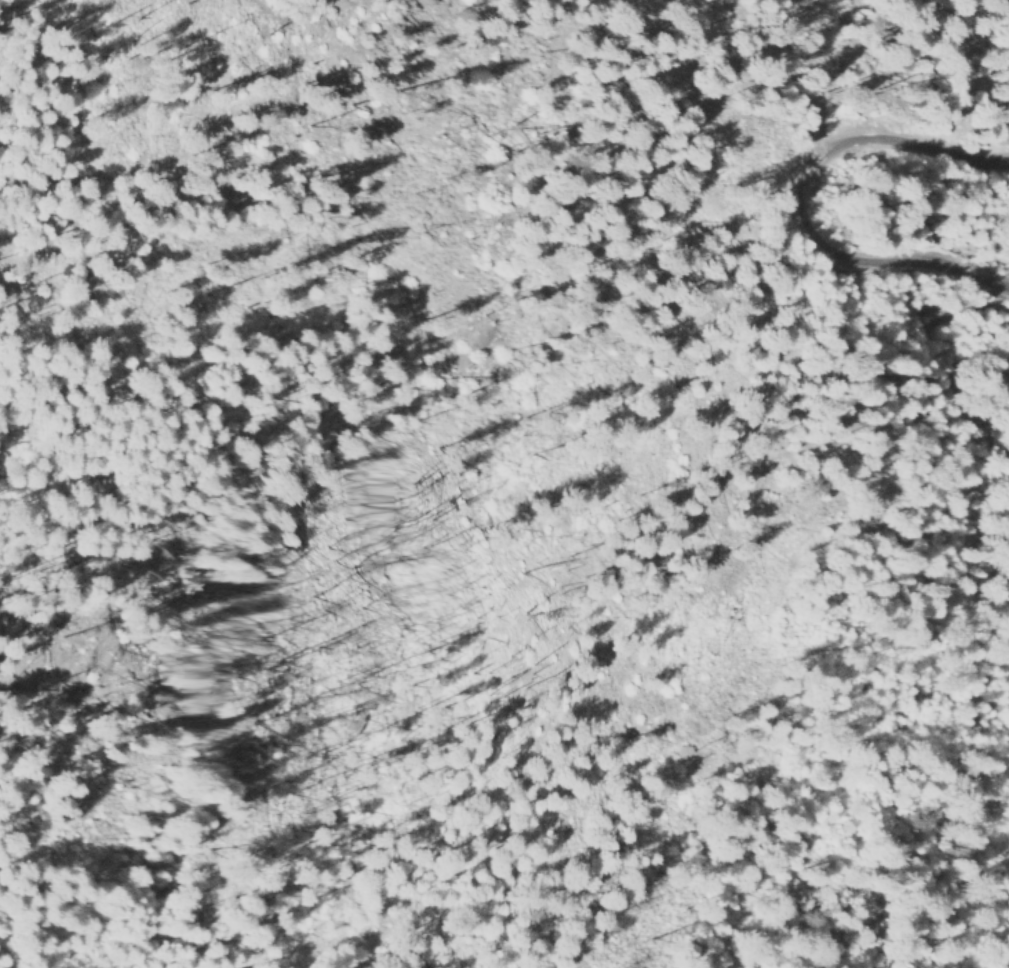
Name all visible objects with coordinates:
road: (781, 195)
road: (141, 945)

